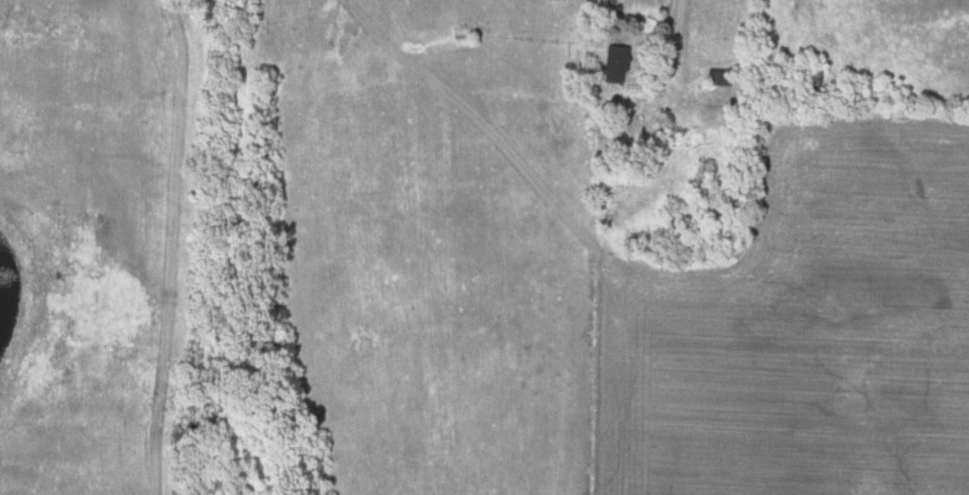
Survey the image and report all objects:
road: (676, 40)
building: (615, 64)
building: (722, 78)
building: (810, 91)
crop: (801, 331)

